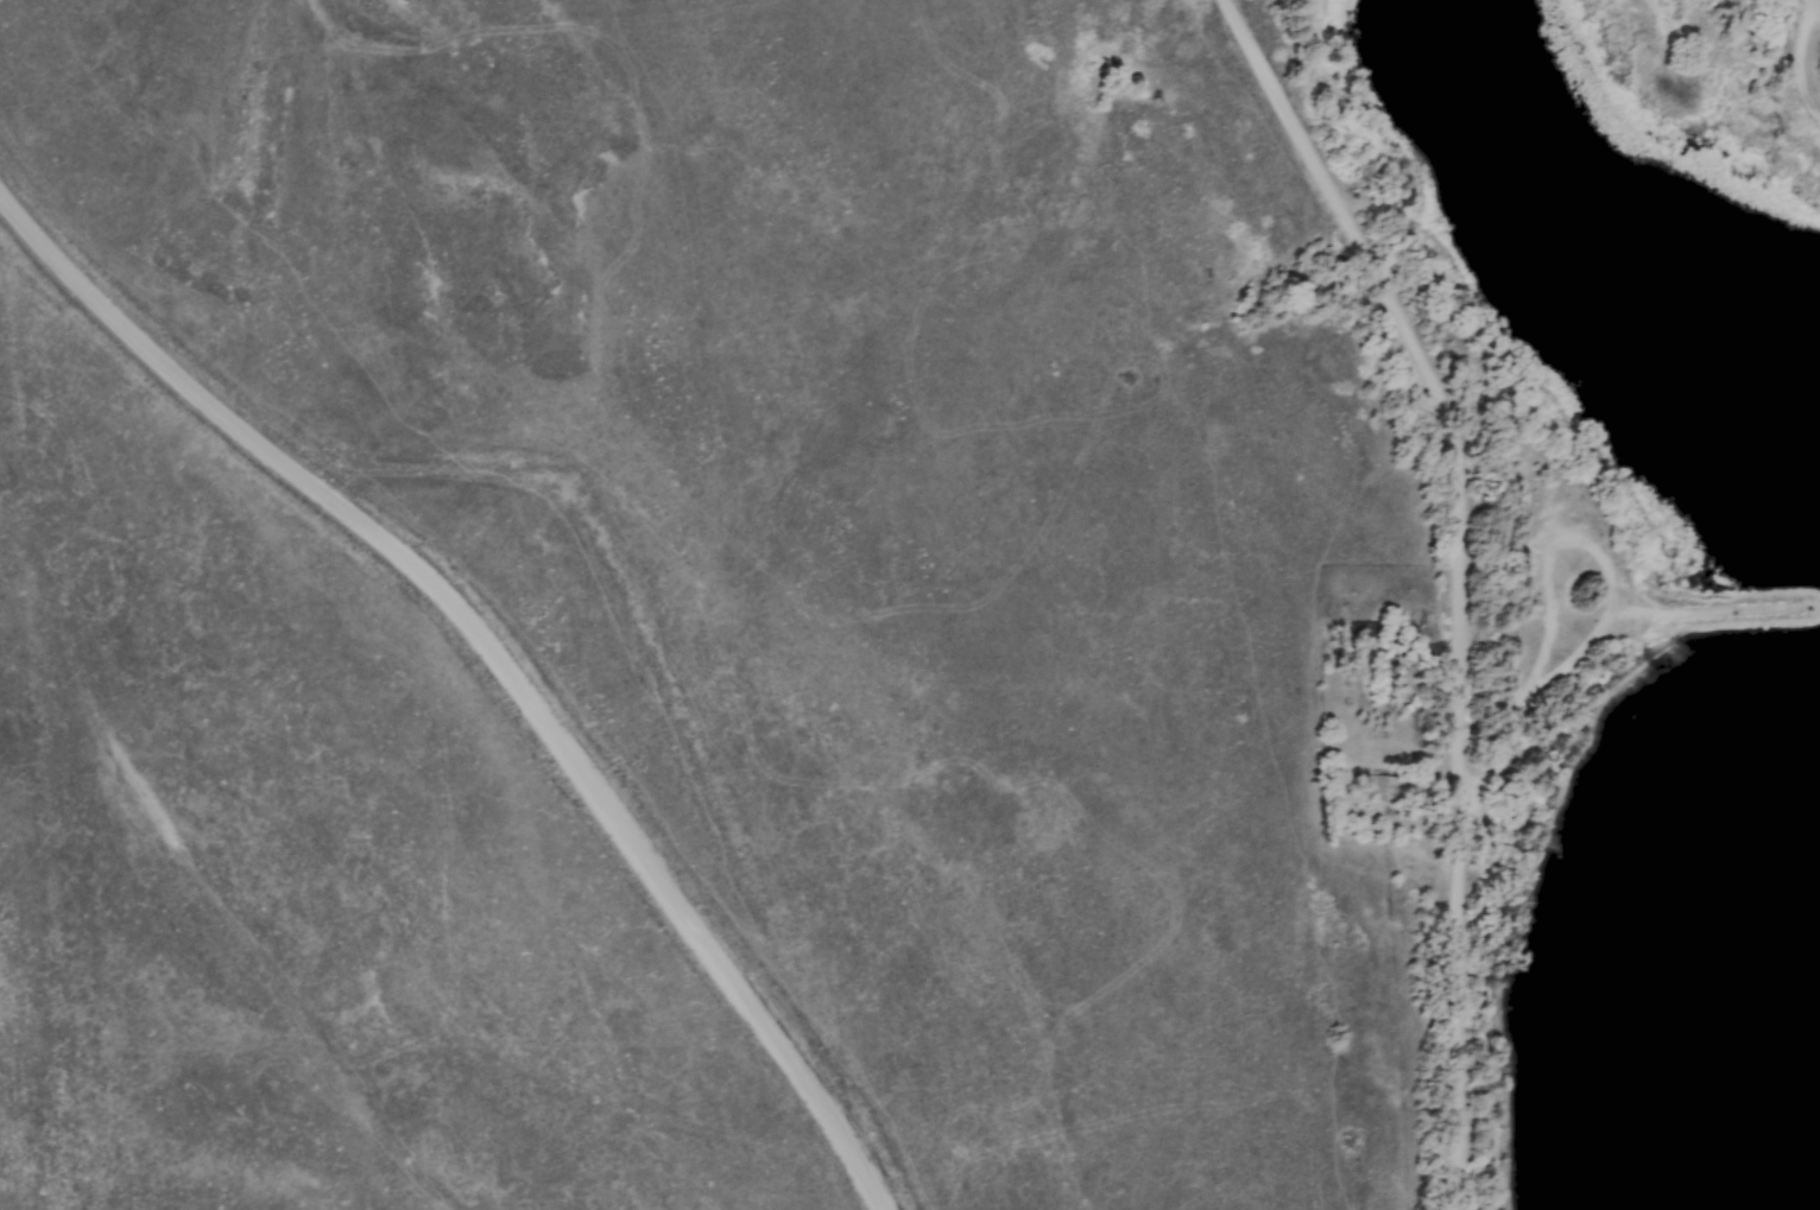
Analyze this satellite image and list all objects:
road: (1819, 0)
road: (1459, 574)
park: (1555, 581)
road: (499, 652)
building: (1380, 785)

